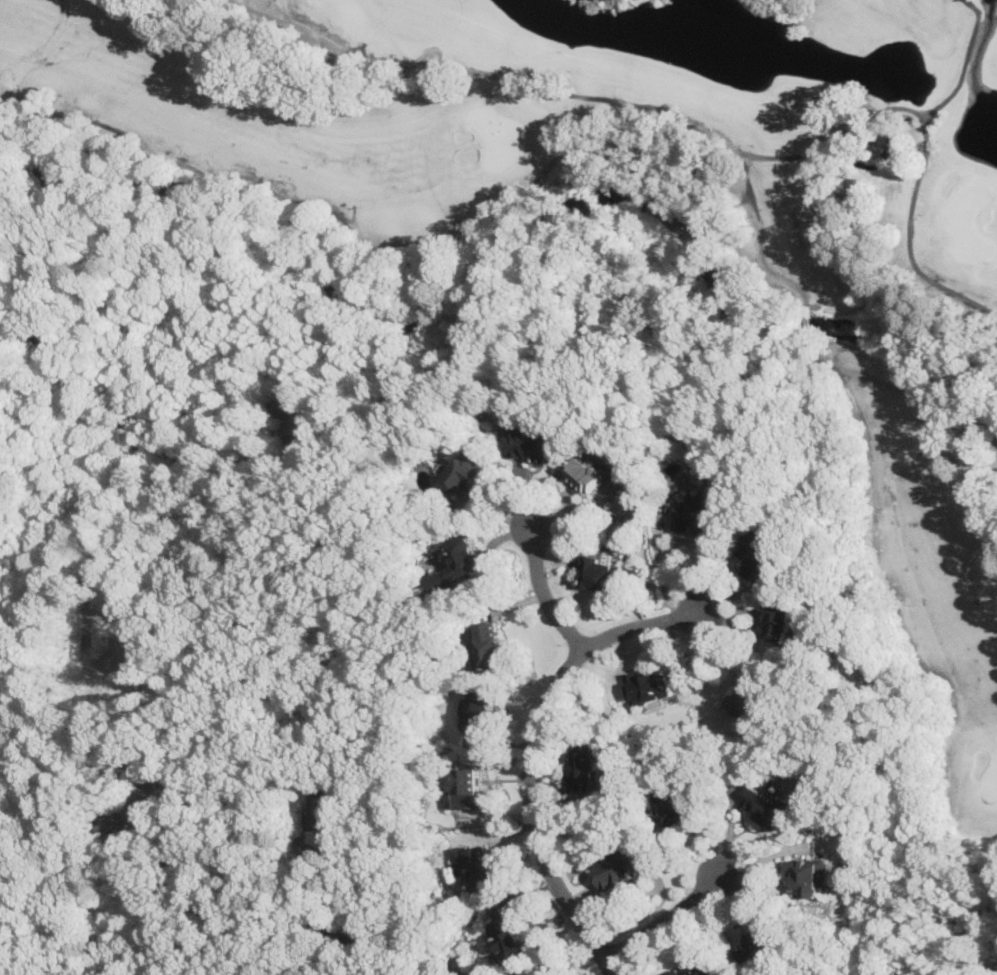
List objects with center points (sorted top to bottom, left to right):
park: (616, 221)
road: (62, 371)
building: (301, 412)
building: (532, 445)
road: (195, 463)
building: (467, 473)
building: (589, 474)
building: (702, 511)
road: (96, 534)
building: (759, 551)
building: (462, 560)
building: (601, 571)
road: (542, 589)
building: (777, 621)
building: (489, 644)
building: (648, 684)
building: (750, 693)
building: (481, 709)
road: (534, 751)
building: (585, 764)
road: (173, 767)
building: (470, 788)
building: (766, 804)
building: (680, 810)
building: (321, 811)
building: (134, 825)
building: (476, 866)
building: (617, 867)
building: (807, 876)
road: (915, 883)
road: (169, 892)
road: (250, 904)
road: (666, 918)
building: (508, 936)
building: (757, 943)
road: (280, 956)
building: (706, 969)
building: (676, 972)
building: (46, 974)

